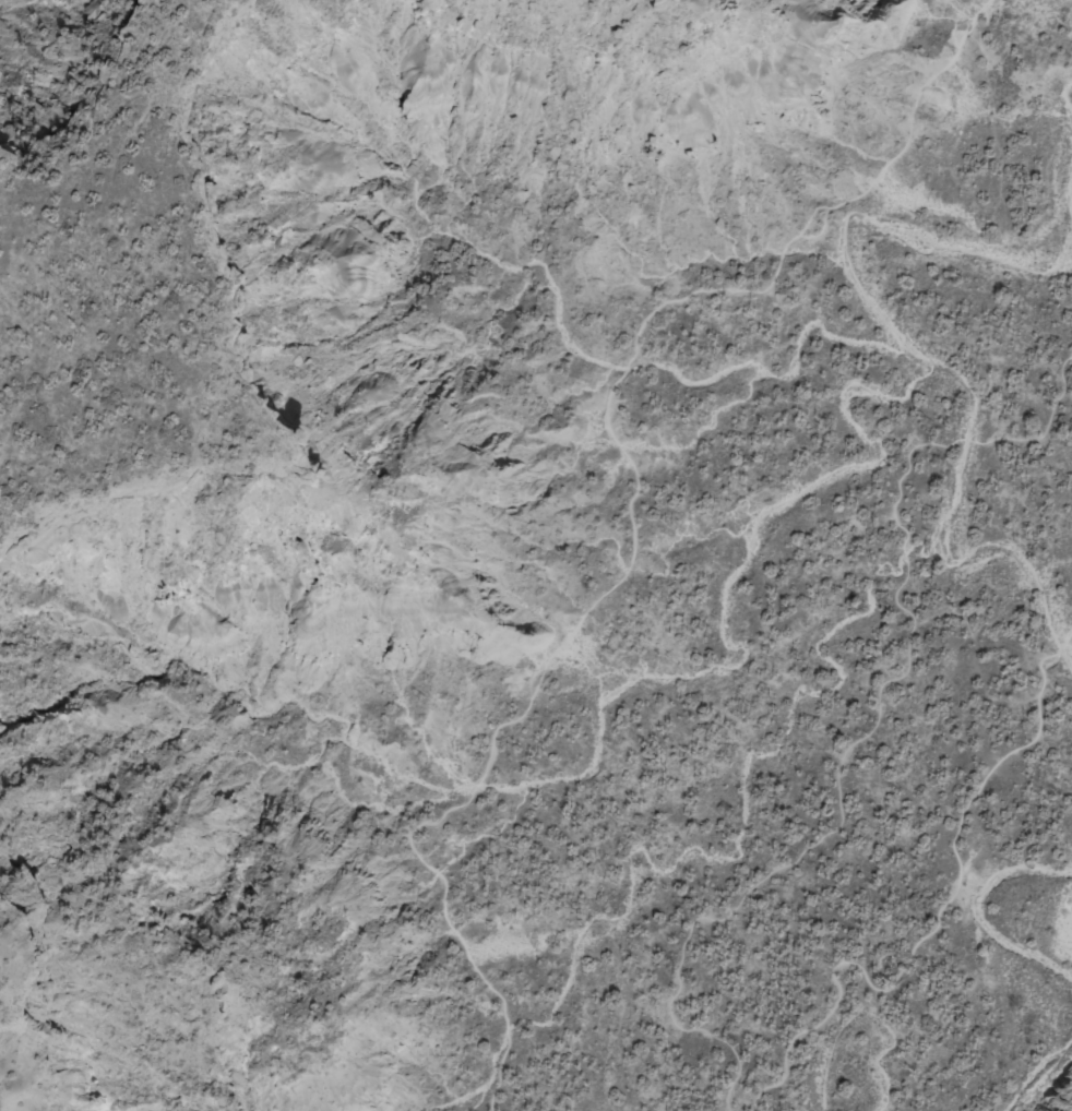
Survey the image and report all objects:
road: (634, 512)
road: (979, 638)
road: (871, 722)
road: (943, 907)

